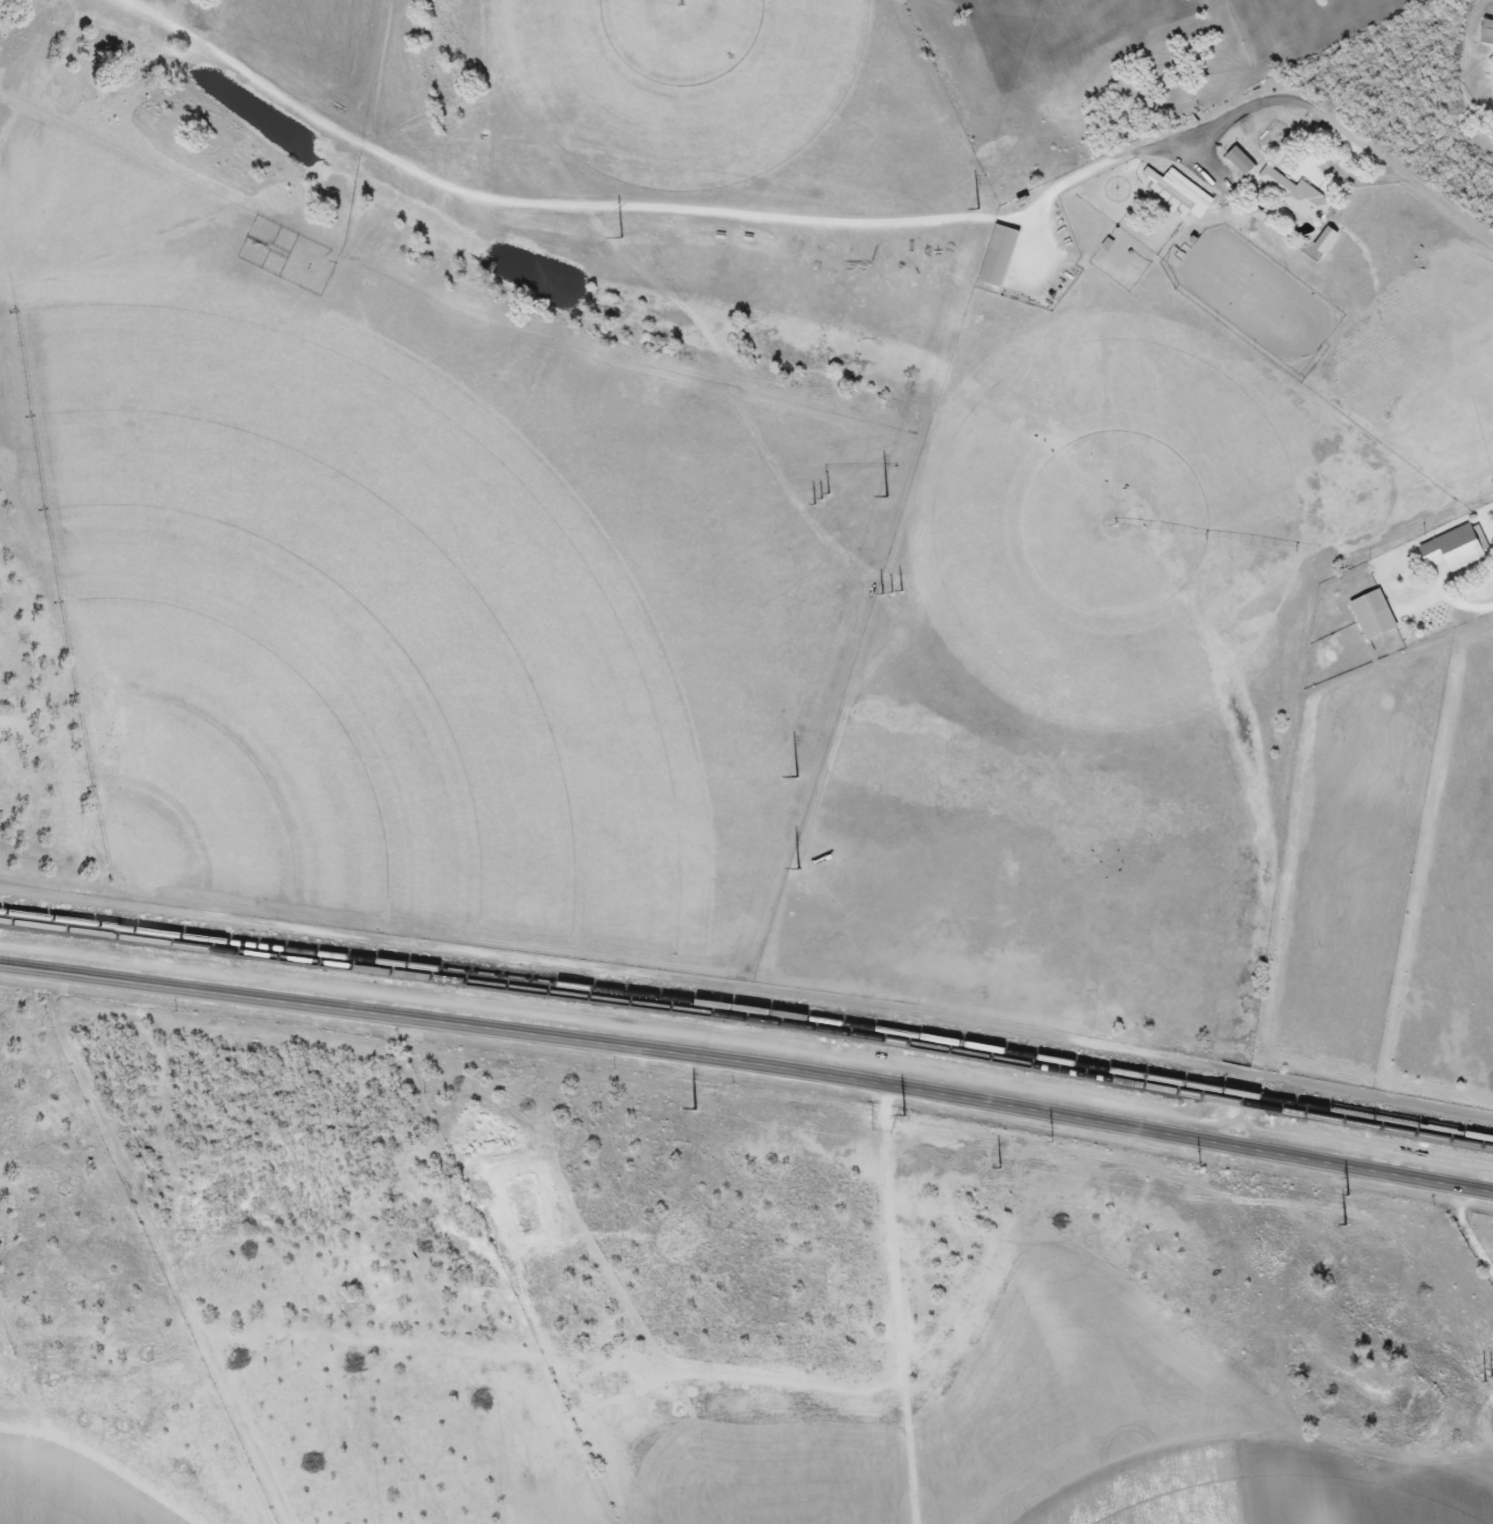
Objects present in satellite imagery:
building: (1487, 26)
building: (1239, 162)
road: (1402, 166)
building: (1182, 189)
building: (1293, 194)
power tower: (985, 209)
road: (710, 210)
power tower: (614, 229)
building: (997, 256)
power tower: (888, 496)
power tower: (828, 507)
building: (1454, 549)
building: (1372, 615)
power tower: (794, 775)
power tower: (1042, 786)
railway: (603, 988)
railway: (603, 998)
power tower: (1246, 1054)
road: (748, 1061)
railway: (1240, 1093)
railway: (1239, 1102)
power tower: (695, 1110)
railway: (1384, 1119)
railway: (1383, 1128)
power tower: (1026, 1170)
power tower: (1362, 1201)
power tower: (1351, 1223)
power tower: (1485, 1370)

